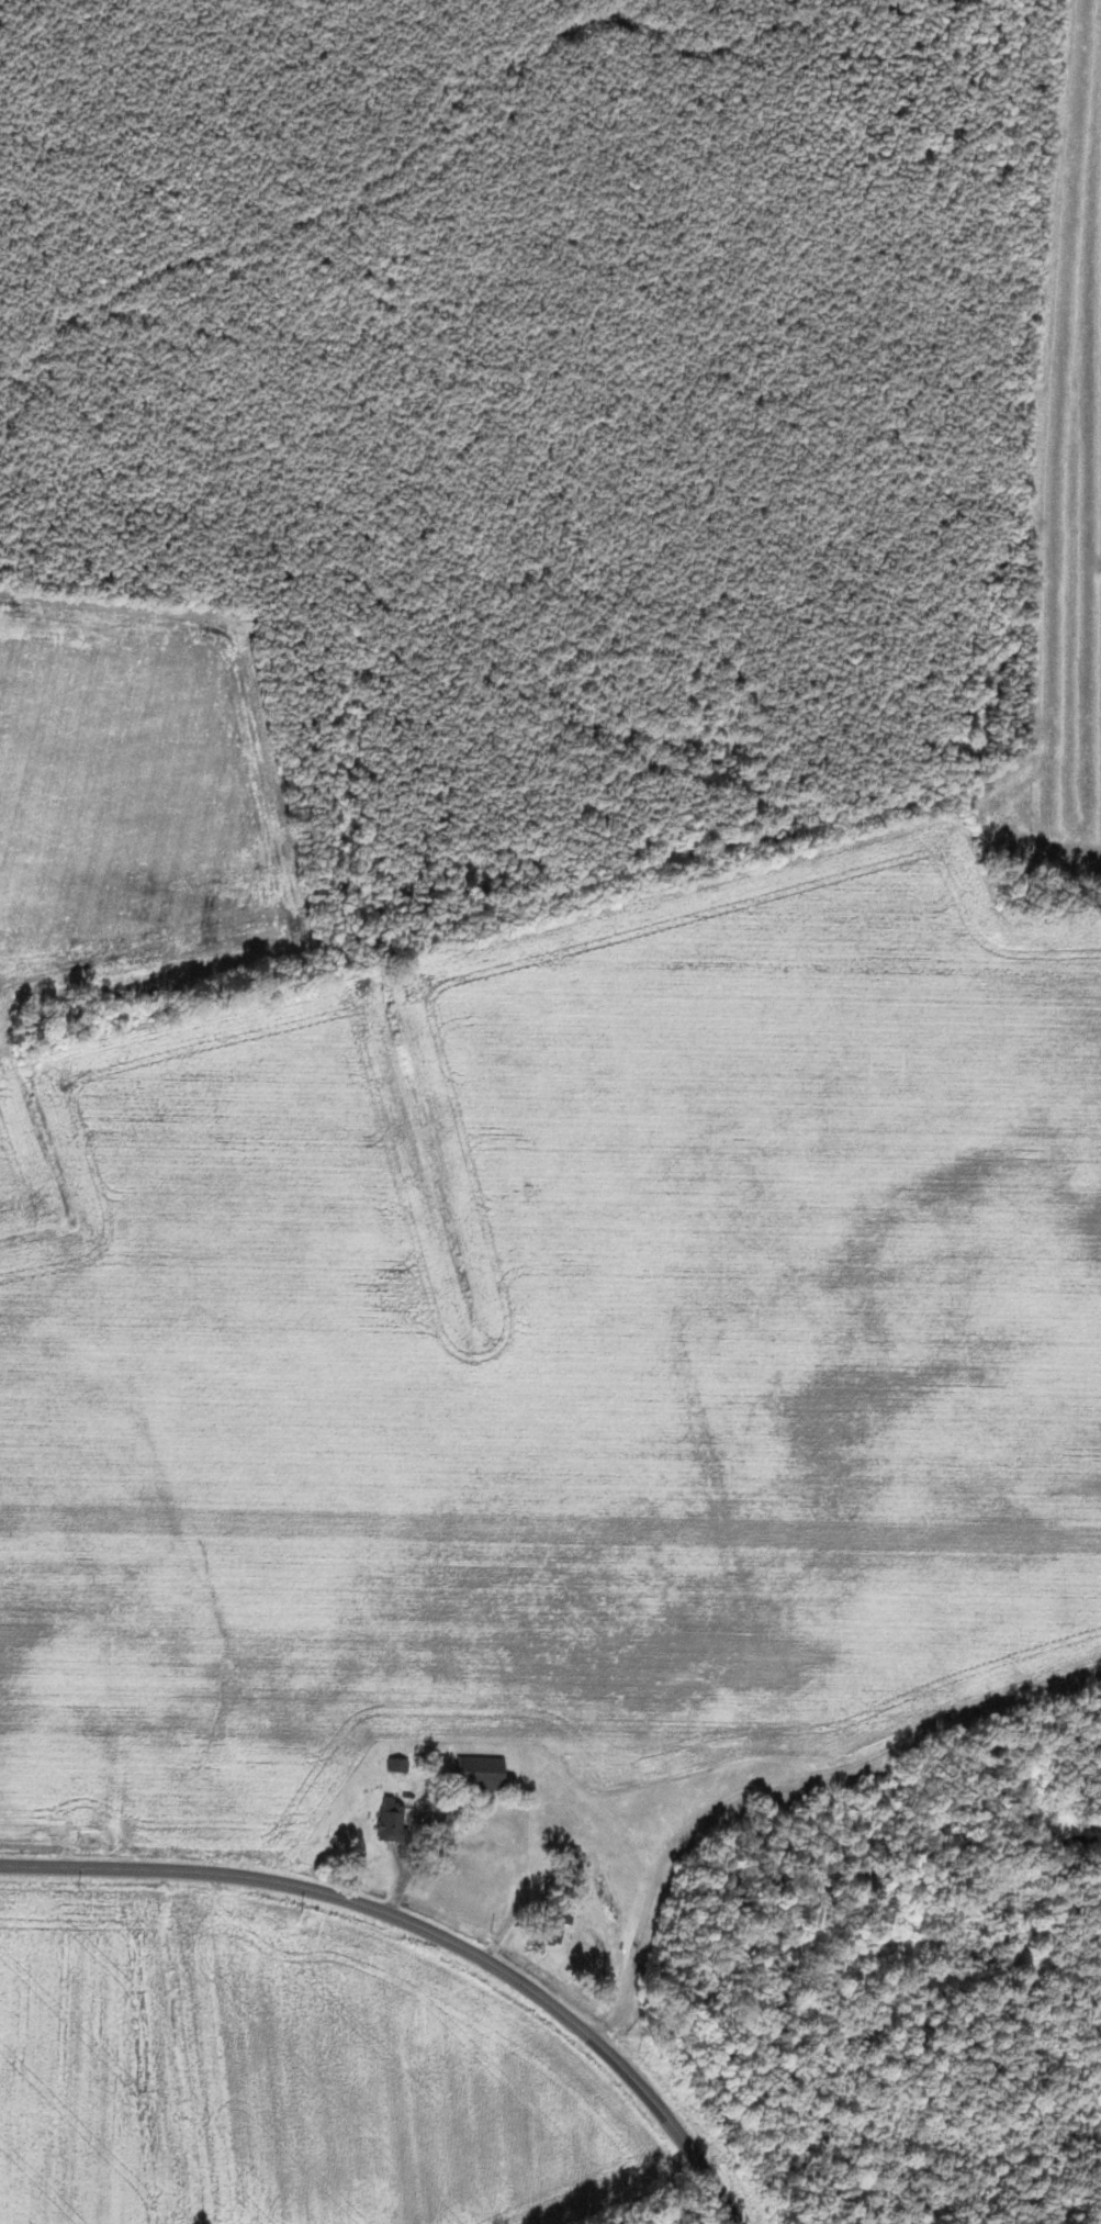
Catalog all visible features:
building: (475, 1770)
building: (385, 1820)
building: (550, 1925)
road: (426, 1930)

